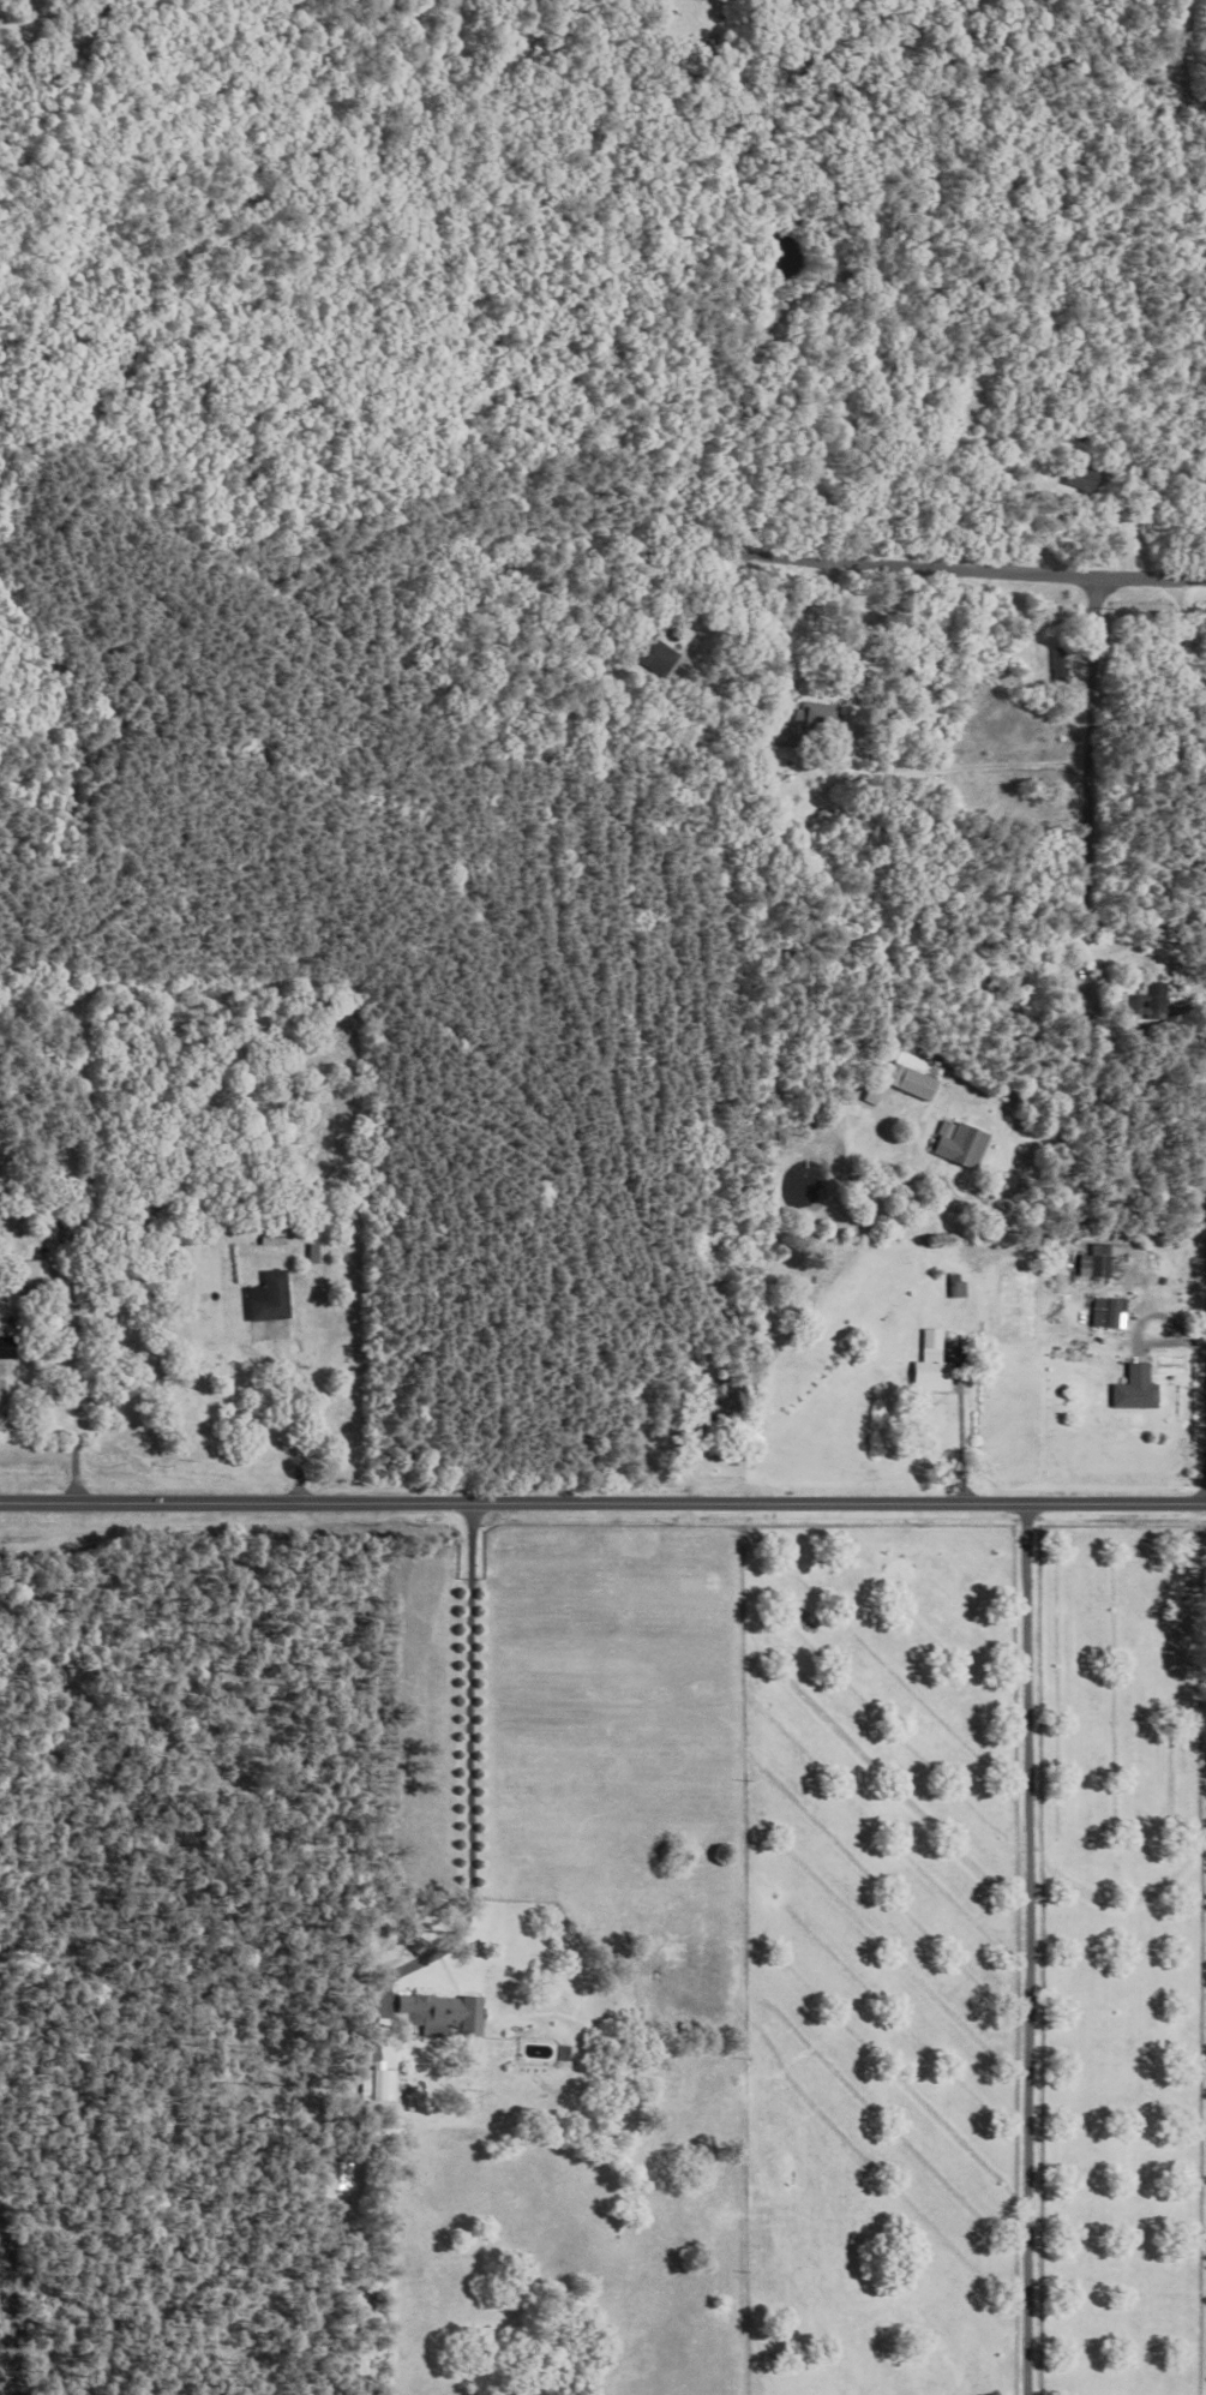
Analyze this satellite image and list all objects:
building: (1078, 477)
road: (955, 580)
building: (655, 658)
building: (775, 724)
road: (1080, 842)
road: (1141, 924)
building: (1148, 1001)
building: (914, 1074)
building: (962, 1143)
road: (1087, 1228)
building: (272, 1235)
building: (312, 1252)
building: (1097, 1262)
building: (35, 1271)
building: (269, 1297)
building: (1110, 1311)
building: (6, 1345)
building: (935, 1363)
building: (1138, 1388)
road: (295, 1415)
road: (74, 1426)
road: (972, 1442)
road: (602, 1511)
road: (484, 1730)
road: (1031, 1948)
building: (438, 2013)
building: (377, 2084)

